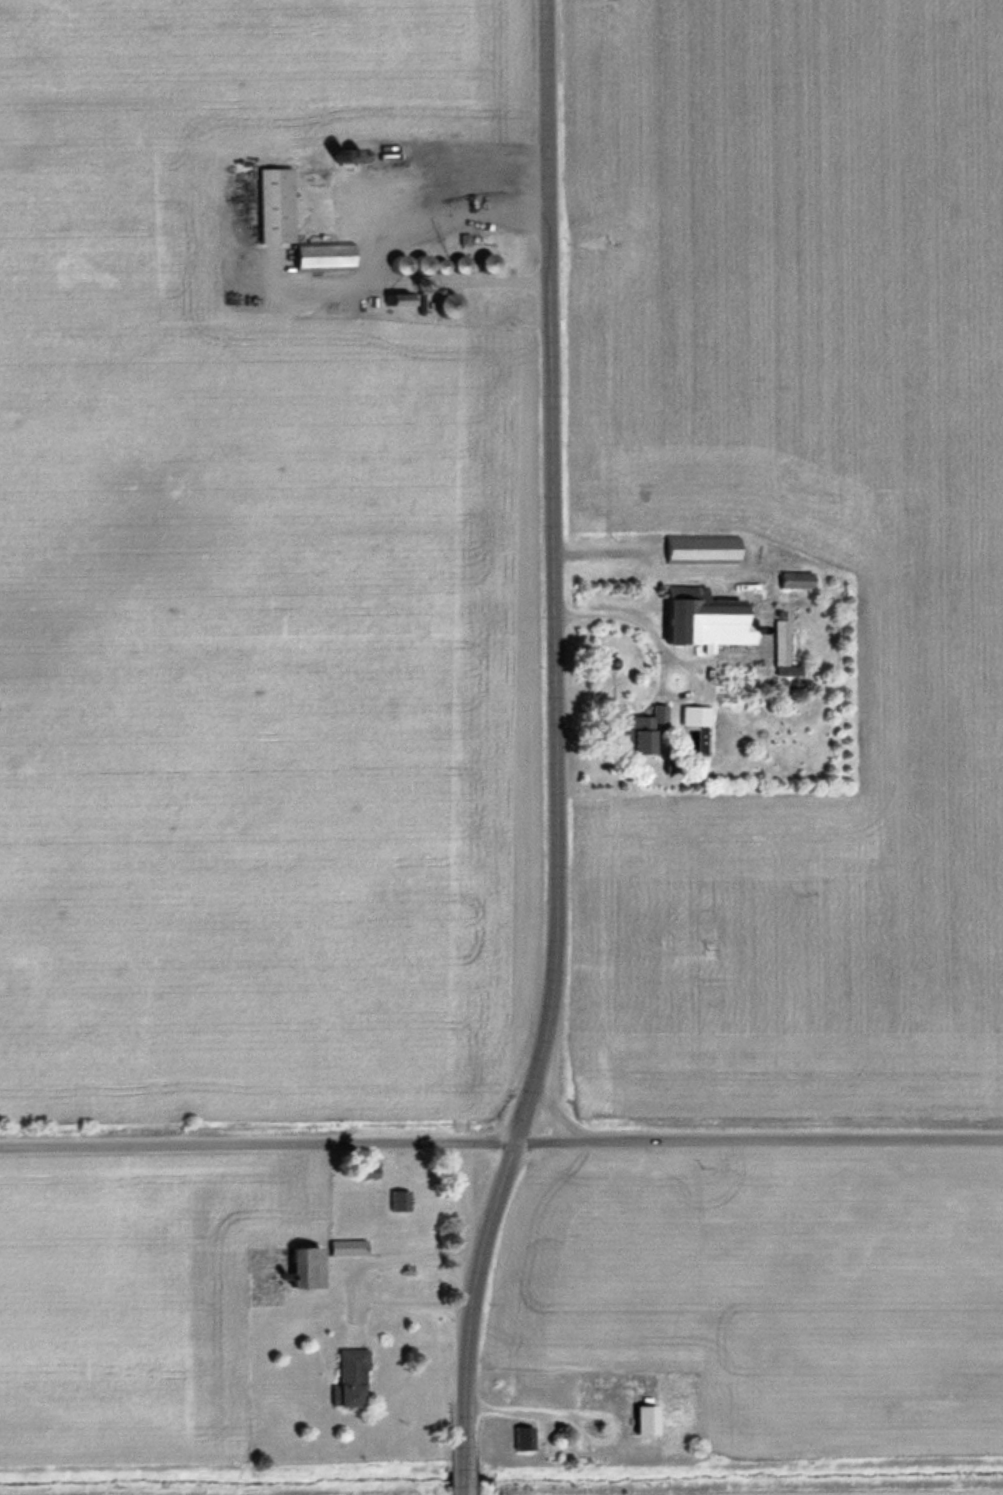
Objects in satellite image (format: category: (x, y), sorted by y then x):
building: (407, 201)
building: (280, 203)
building: (327, 254)
building: (491, 260)
building: (404, 262)
building: (448, 263)
building: (409, 298)
building: (705, 547)
road: (555, 574)
building: (712, 617)
building: (646, 734)
road: (533, 1100)
road: (501, 1145)
building: (401, 1199)
road: (471, 1221)
building: (342, 1246)
building: (294, 1265)
road: (354, 1284)
road: (472, 1316)
building: (347, 1367)
building: (636, 1418)
building: (516, 1436)

